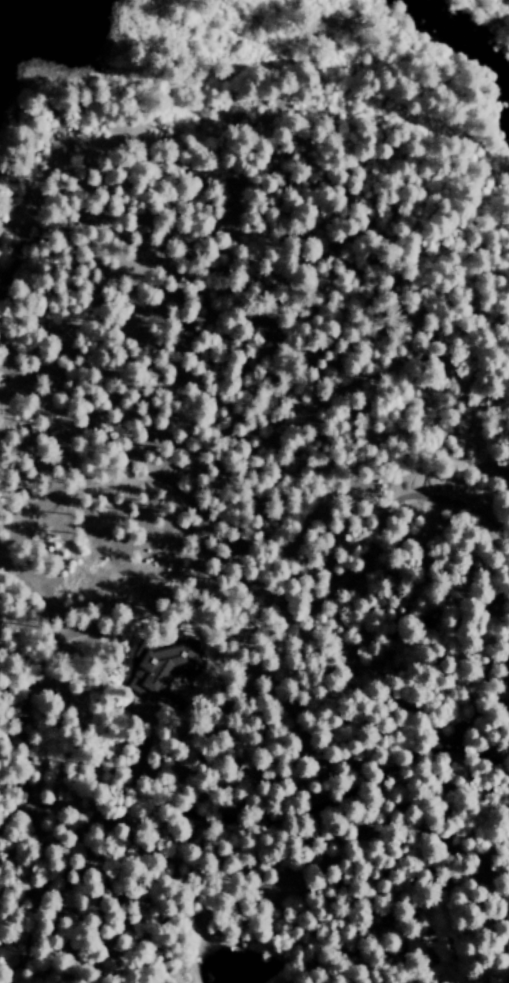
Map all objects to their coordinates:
building: (164, 671)

